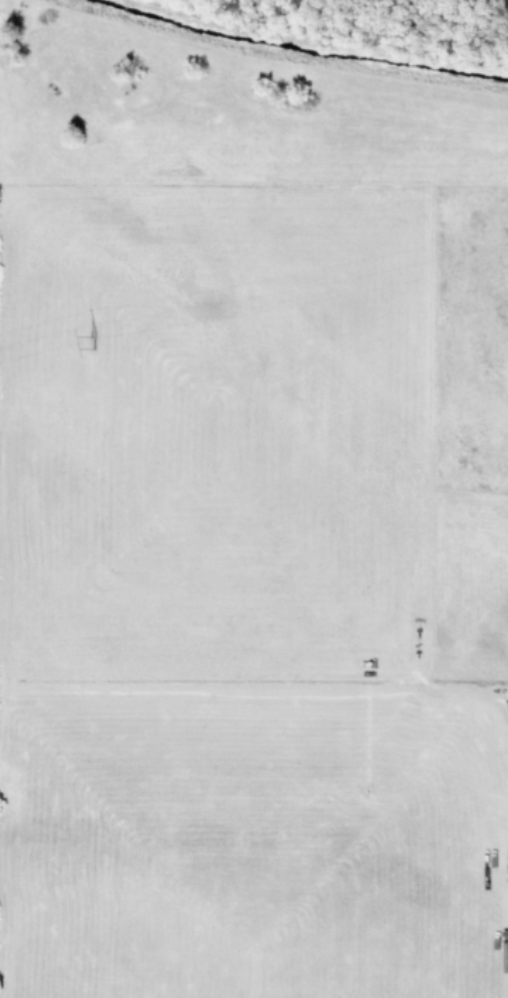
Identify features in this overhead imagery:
power tower: (89, 341)
crop: (254, 499)

